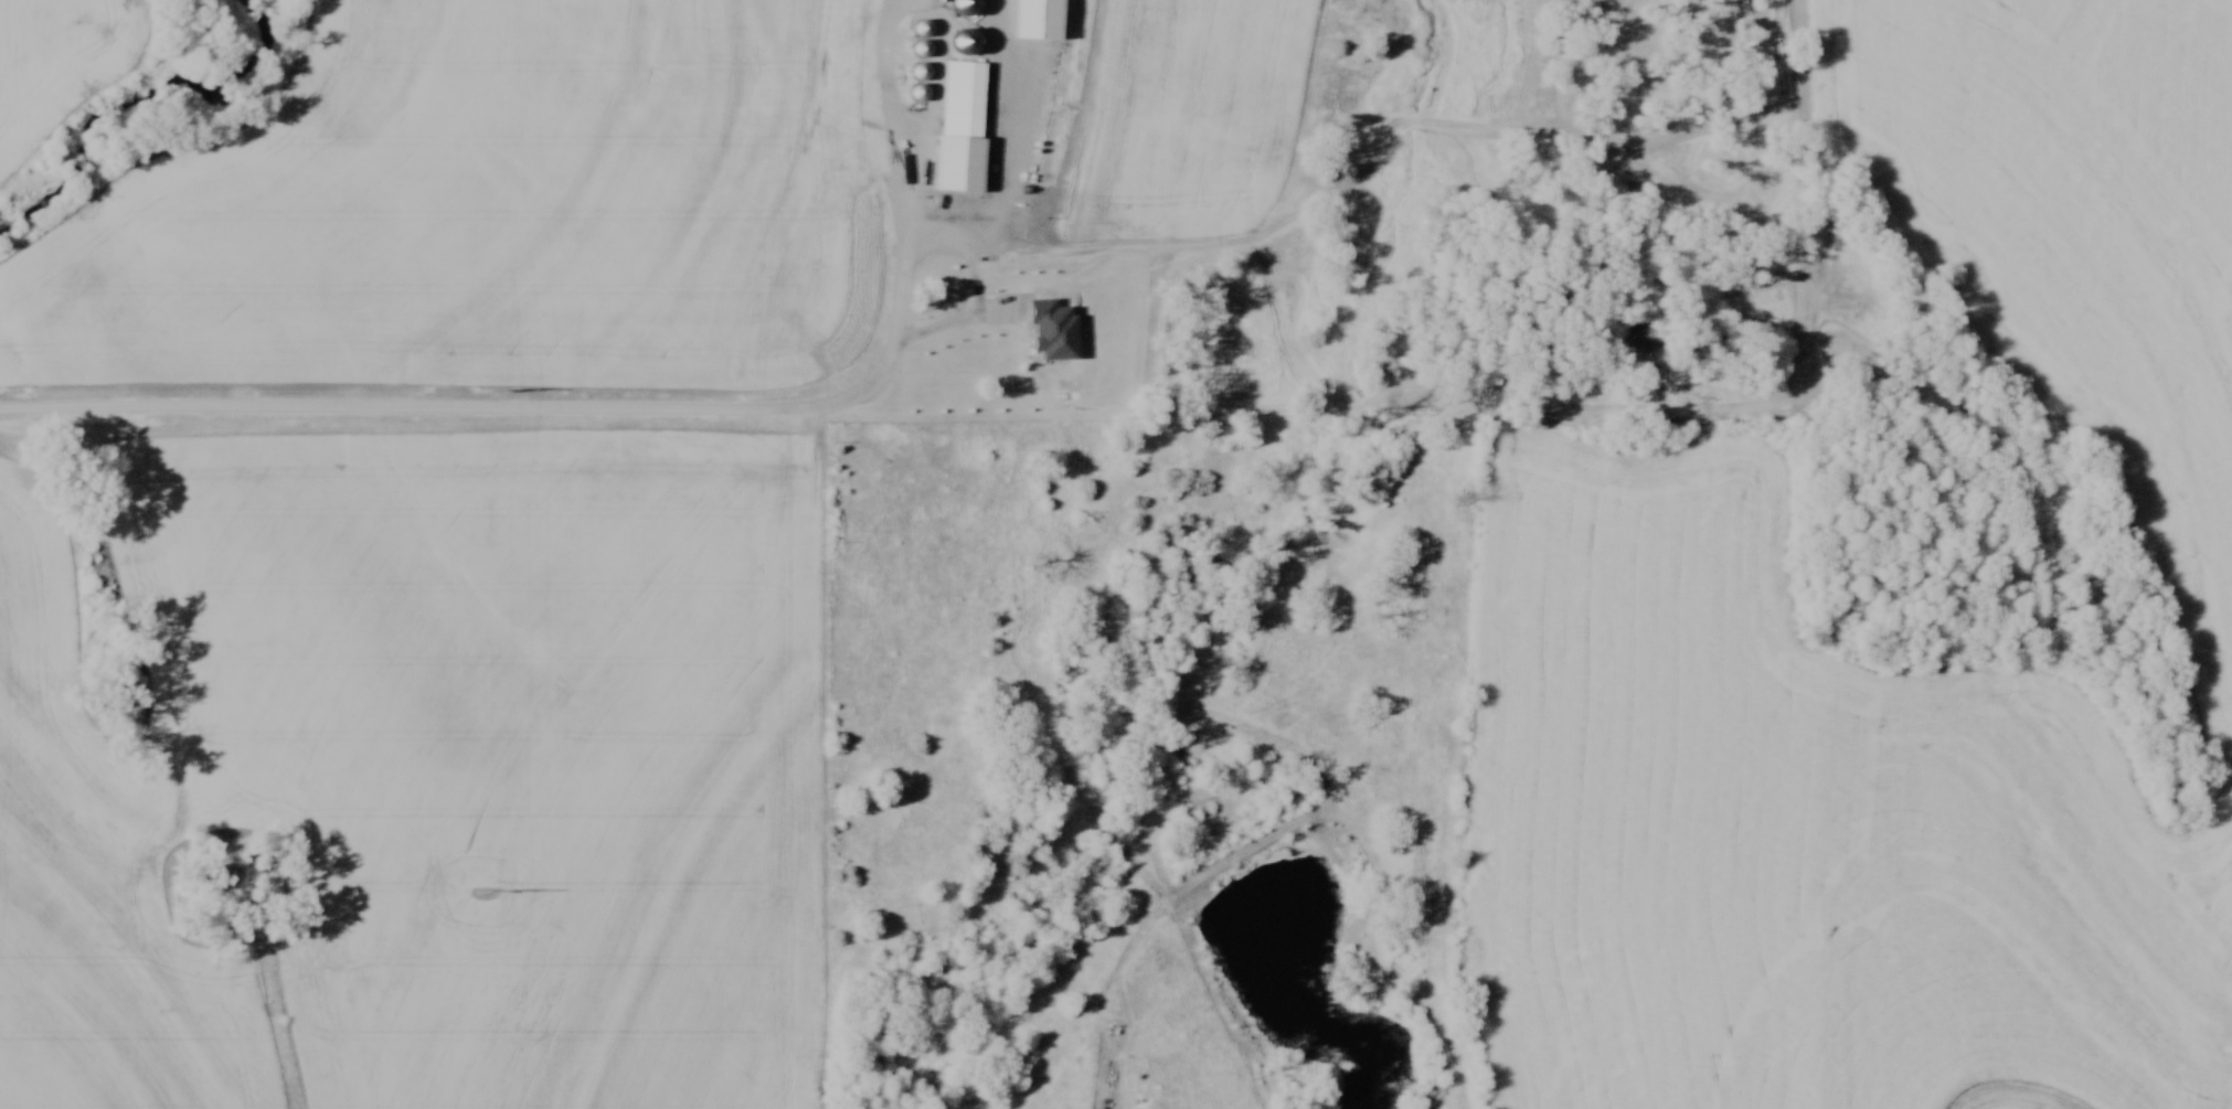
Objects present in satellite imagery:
building: (967, 8)
building: (925, 30)
building: (967, 43)
building: (922, 73)
road: (891, 122)
road: (1005, 156)
building: (963, 166)
building: (1016, 227)
building: (892, 299)
road: (971, 317)
building: (954, 322)
power tower: (487, 392)
road: (509, 408)
power tower: (490, 888)

